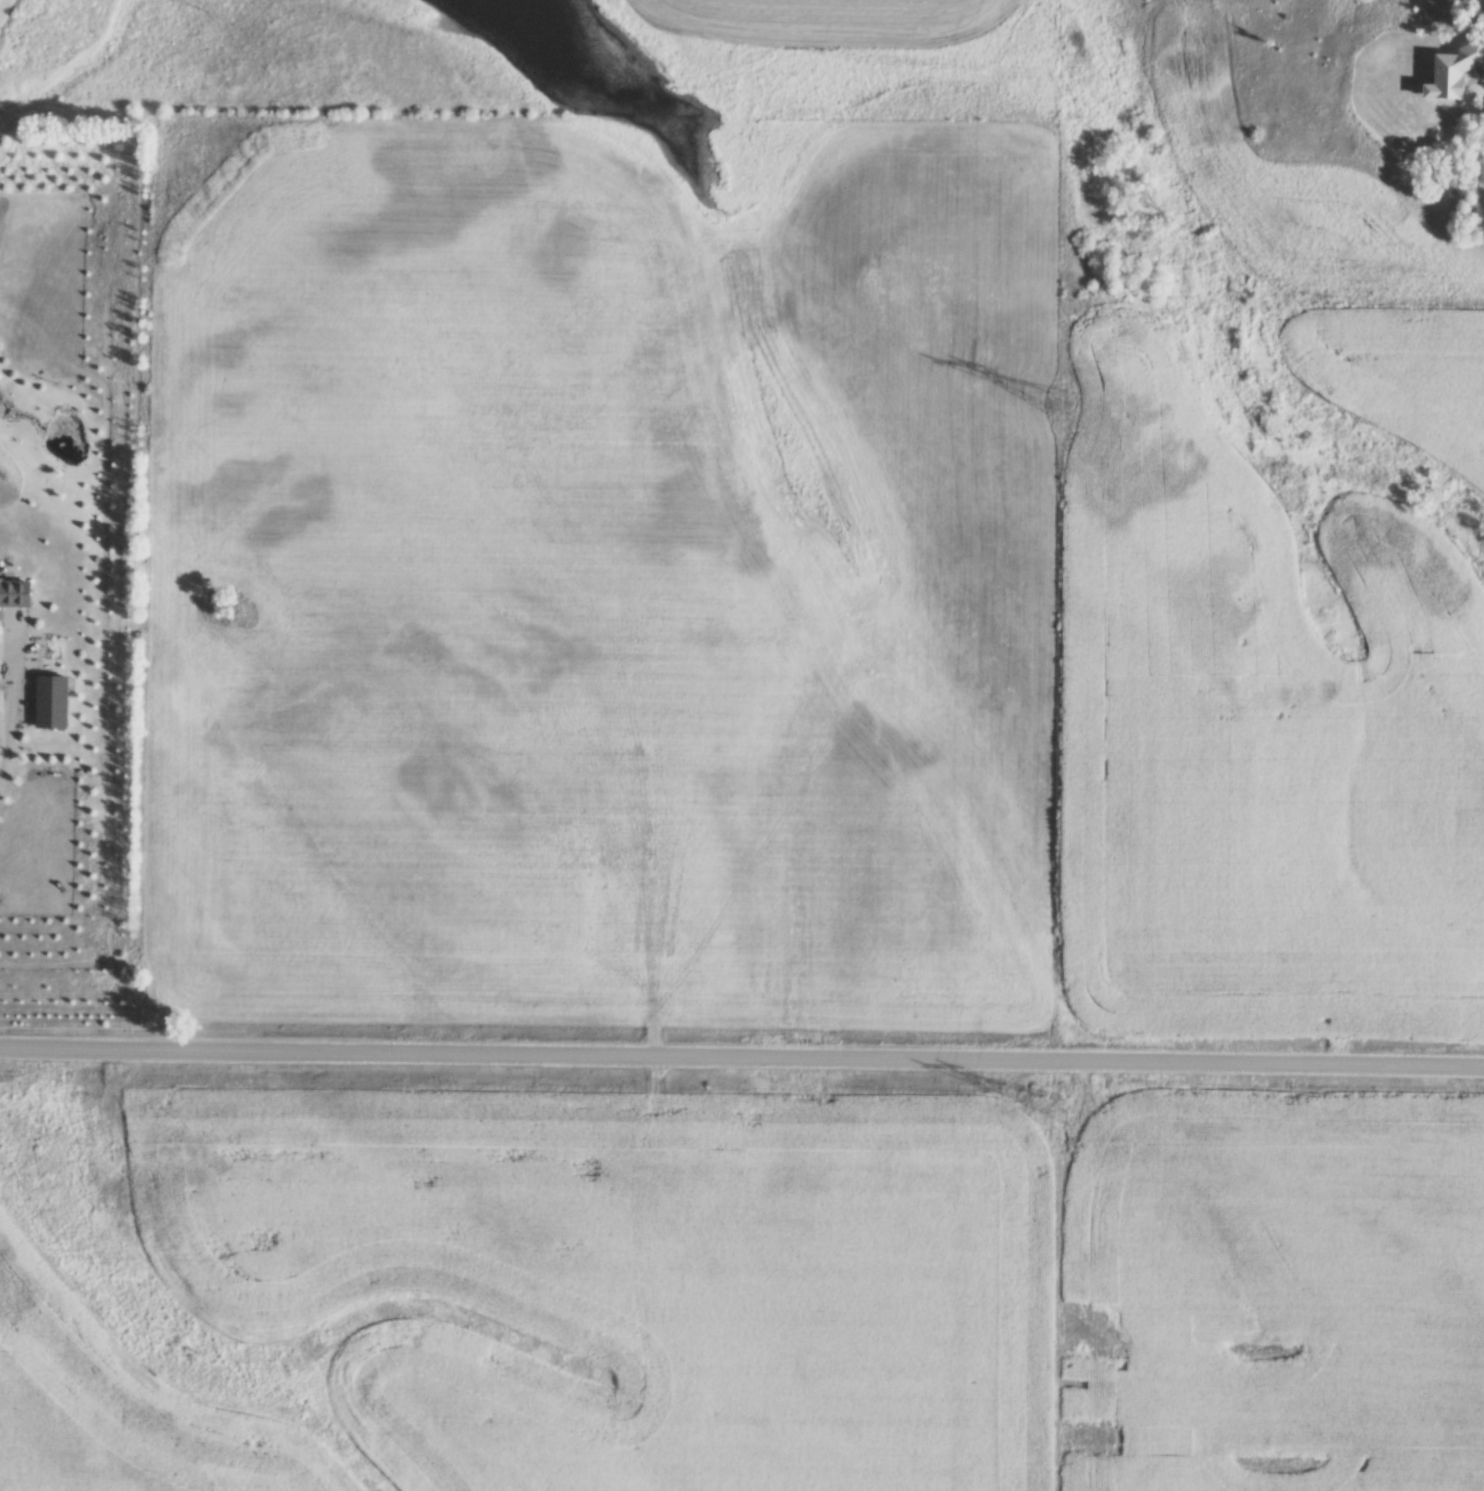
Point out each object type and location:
power tower: (203, 8)
power tower: (1058, 408)
building: (13, 597)
road: (4, 688)
building: (50, 705)
road: (742, 1058)
power tower: (1054, 1122)

